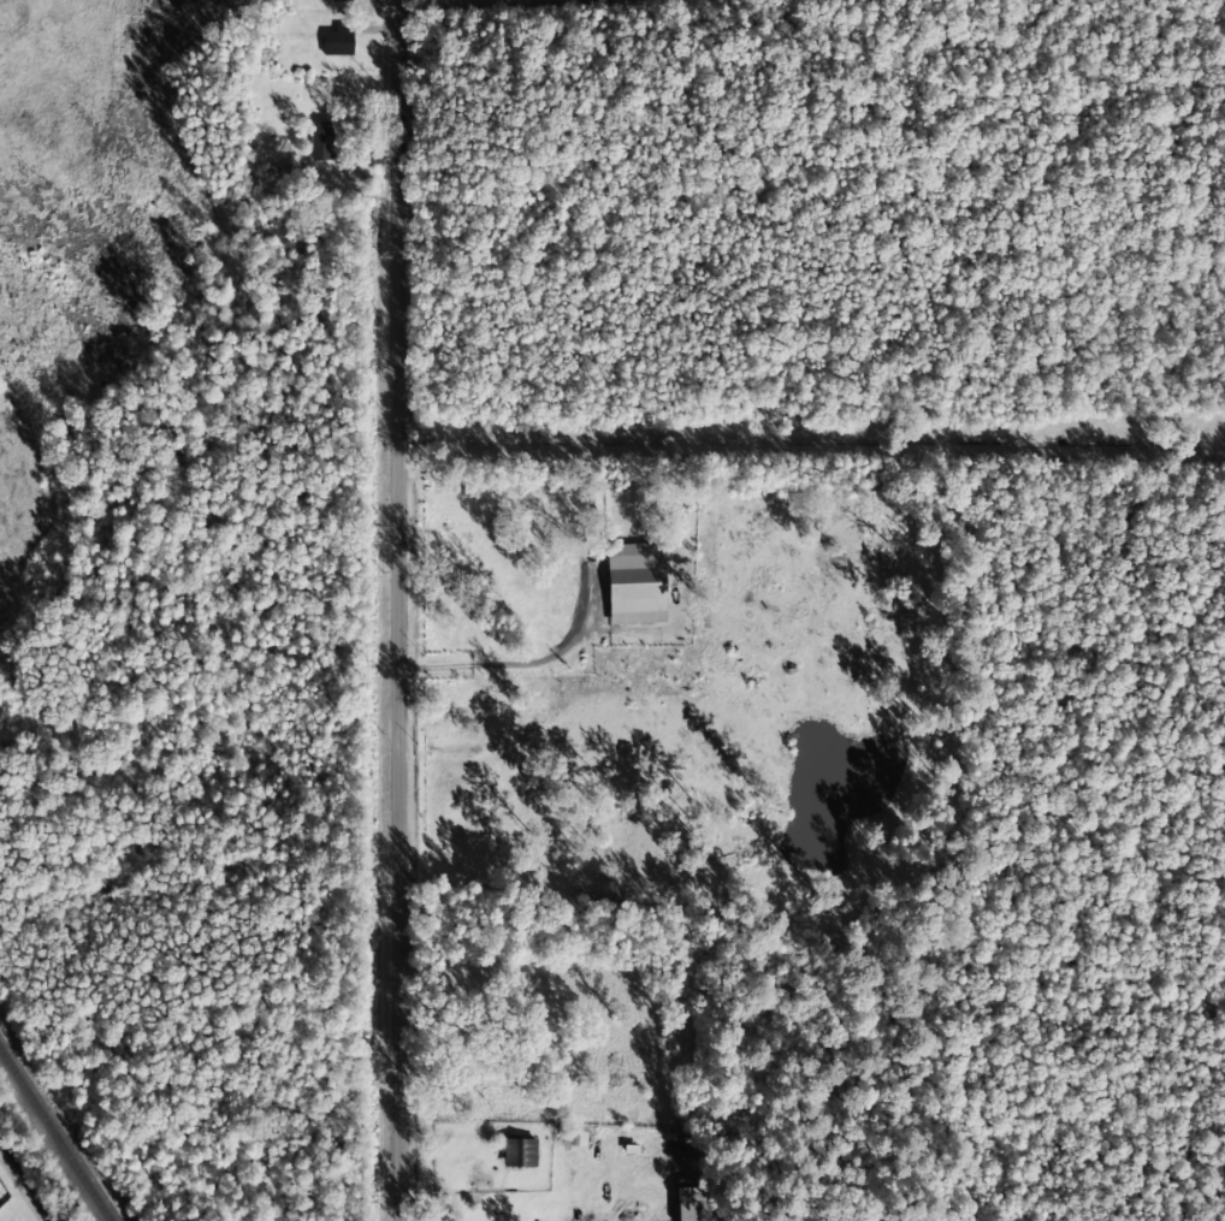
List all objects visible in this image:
building: (336, 0)
building: (338, 41)
building: (320, 141)
building: (635, 583)
road: (401, 610)
railway: (55, 1136)
building: (574, 1138)
building: (520, 1152)
building: (691, 1204)

